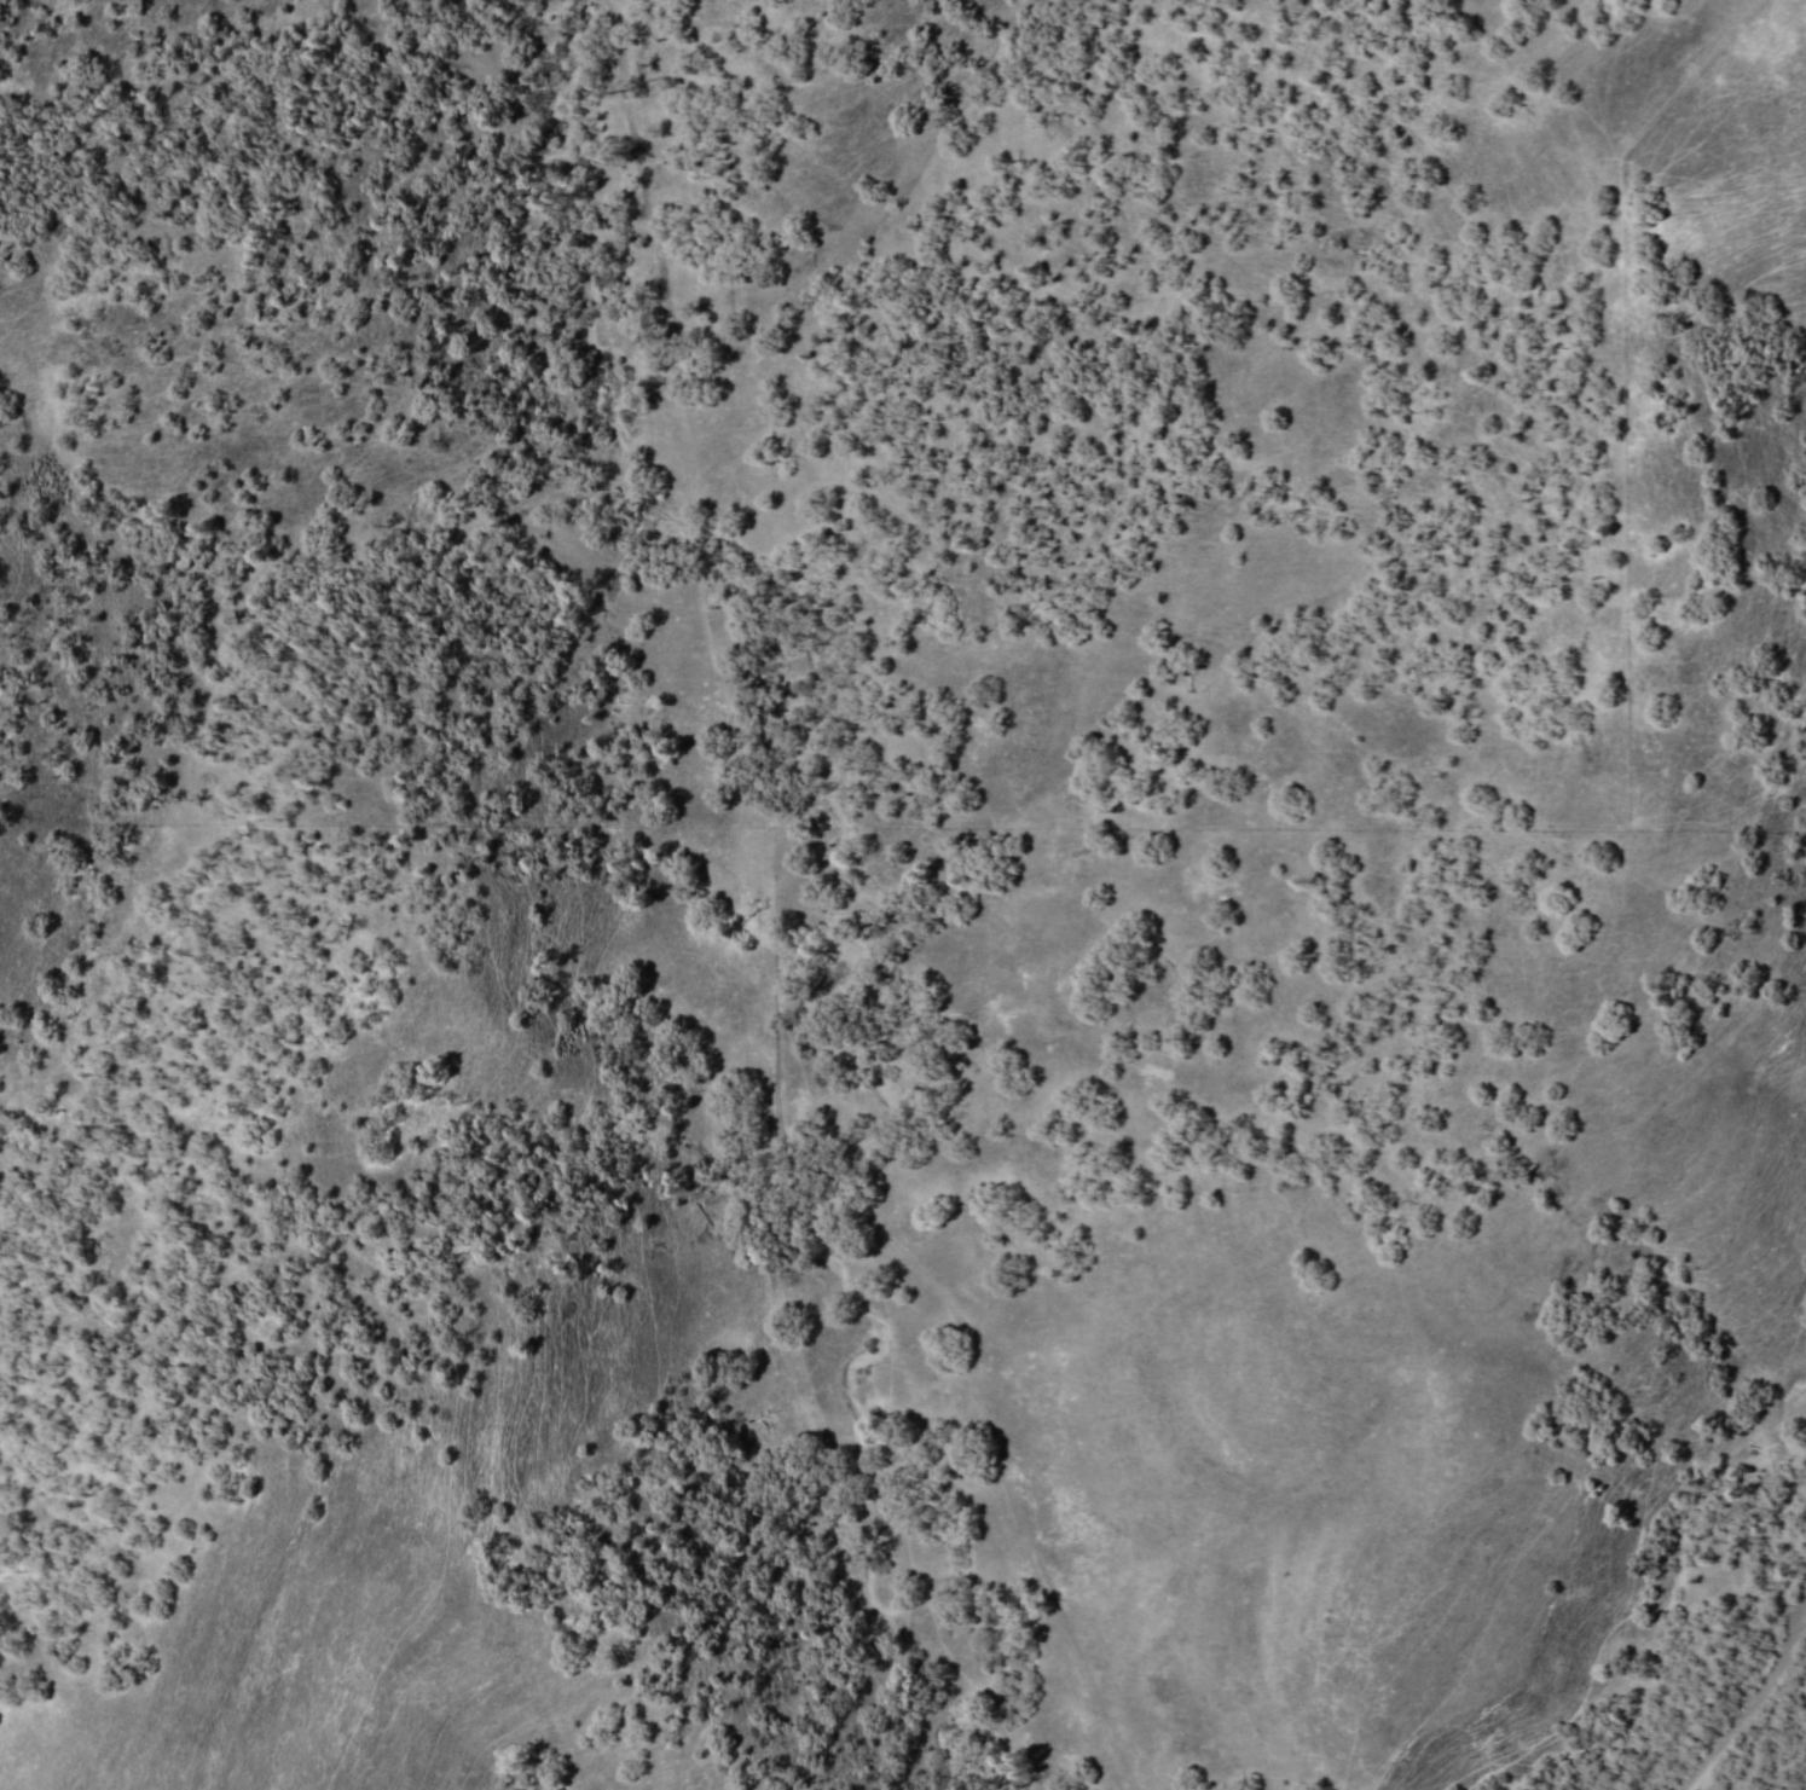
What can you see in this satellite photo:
road: (1752, 1705)

